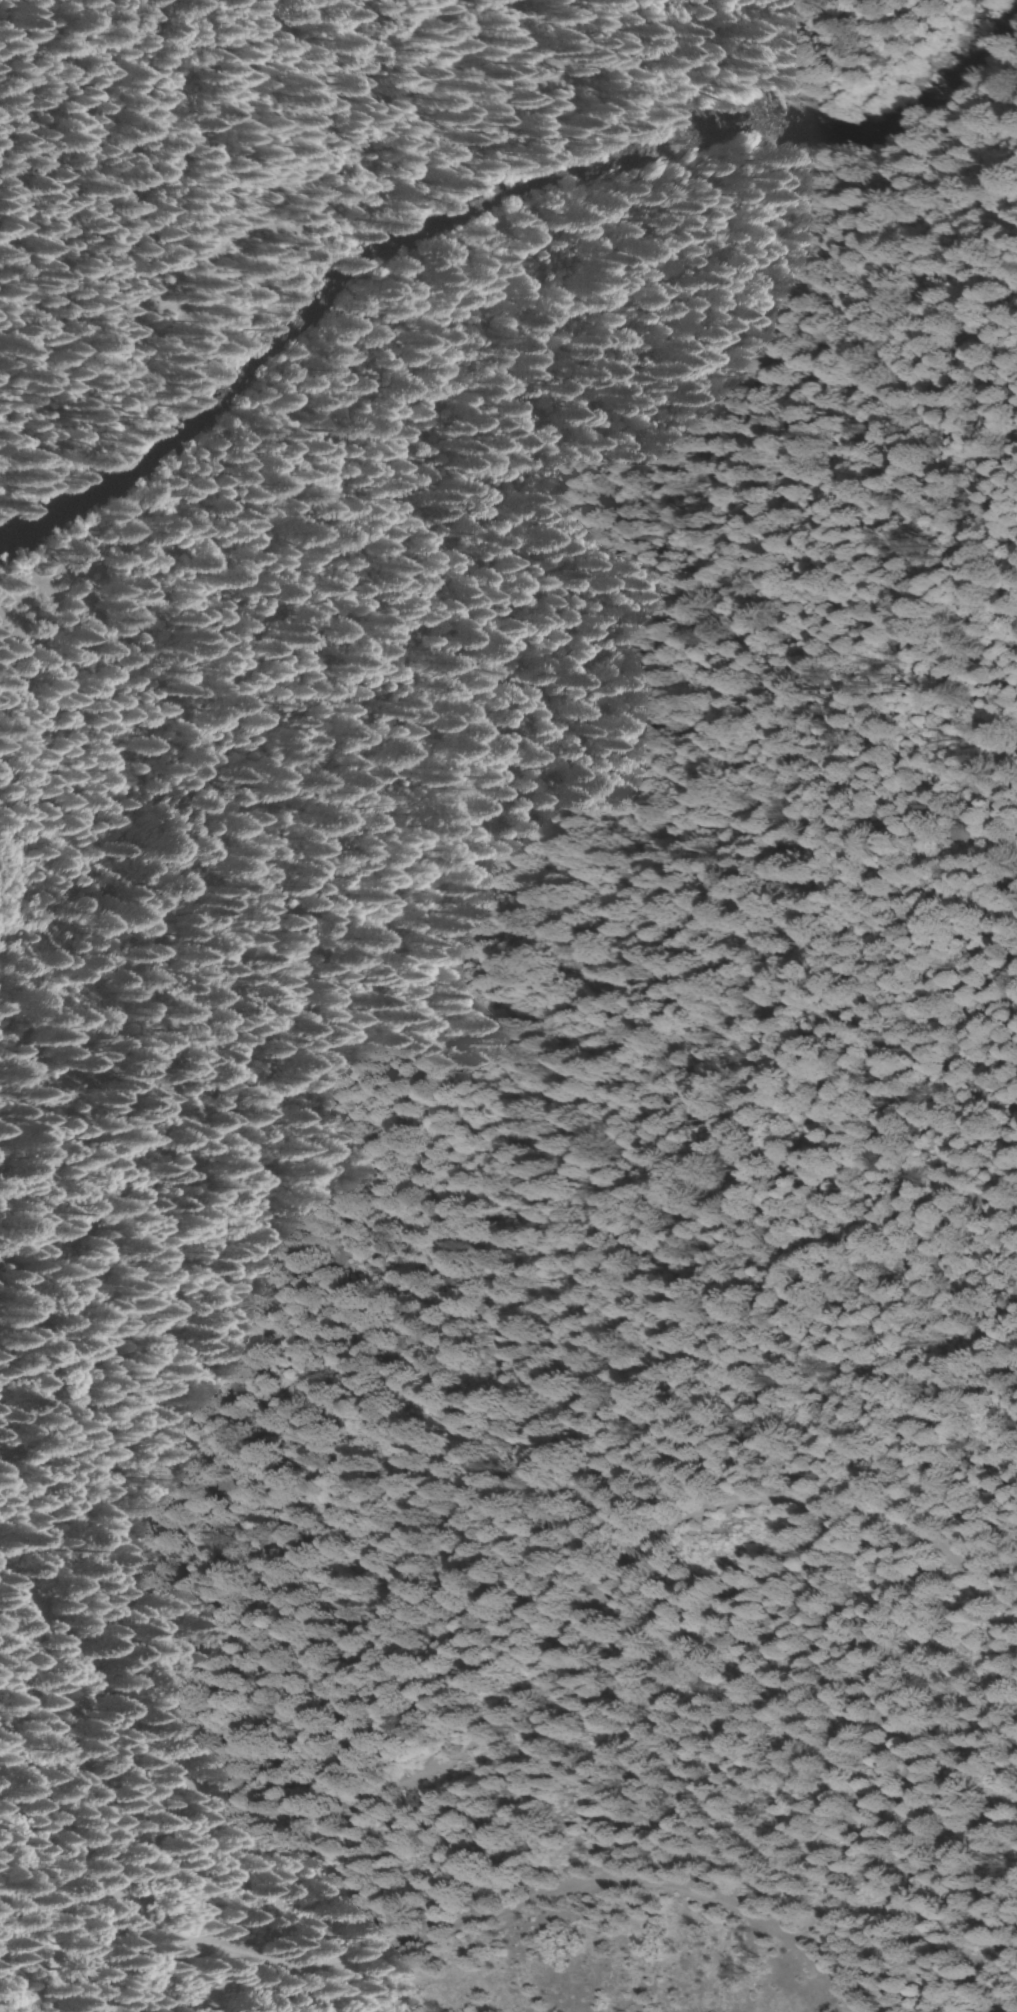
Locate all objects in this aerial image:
river: (476, 217)
road: (489, 1721)
road: (405, 1945)

